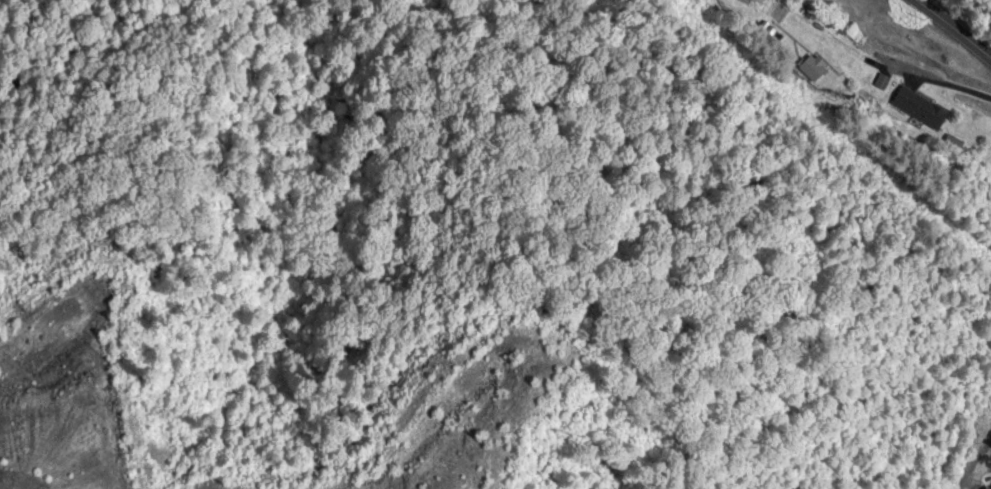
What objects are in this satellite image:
road: (955, 27)
road: (745, 31)
building: (813, 69)
building: (921, 109)
building: (990, 183)
road: (946, 394)

